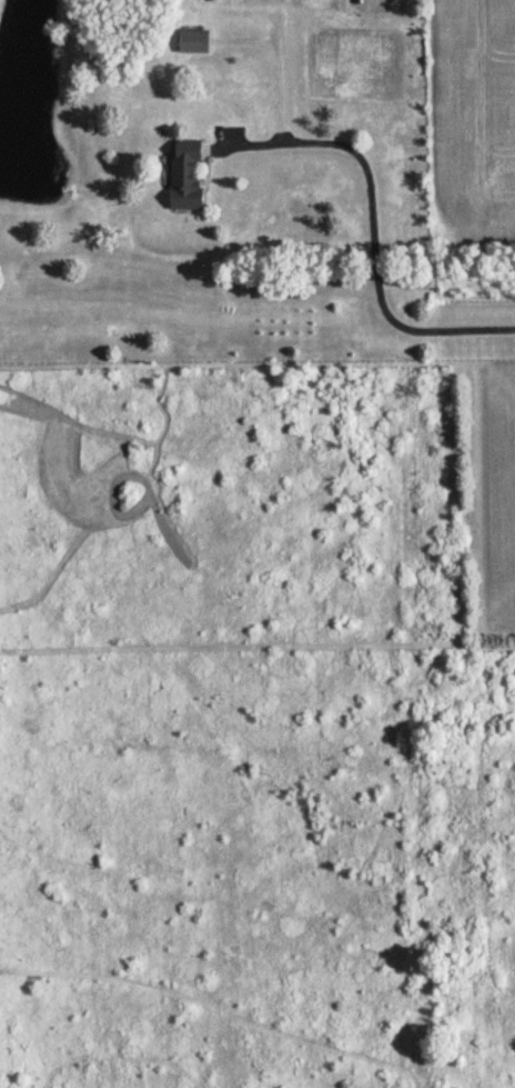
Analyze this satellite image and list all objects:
building: (194, 40)
building: (188, 174)
road: (375, 230)

